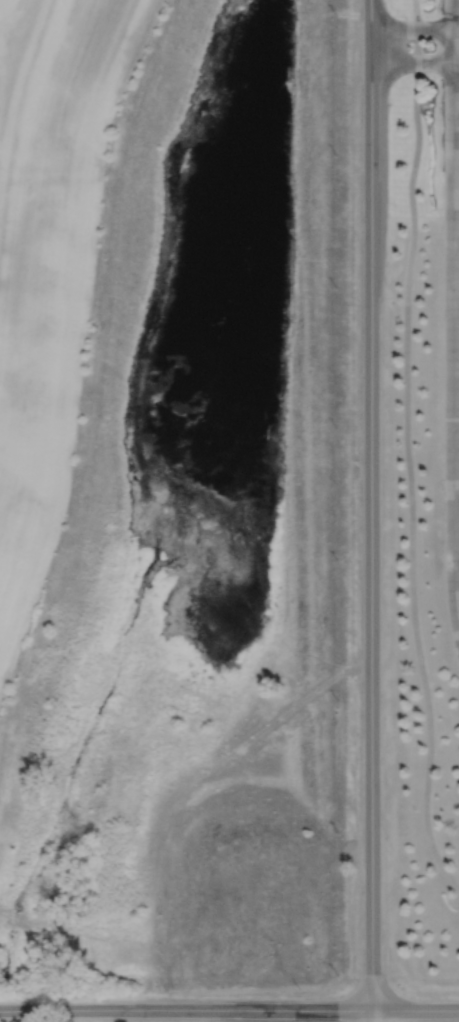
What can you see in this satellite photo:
road: (413, 25)
road: (456, 31)
road: (413, 62)
crop: (51, 258)
road: (449, 345)
road: (408, 448)
road: (371, 503)
park: (187, 513)
road: (229, 1008)
road: (372, 1015)

